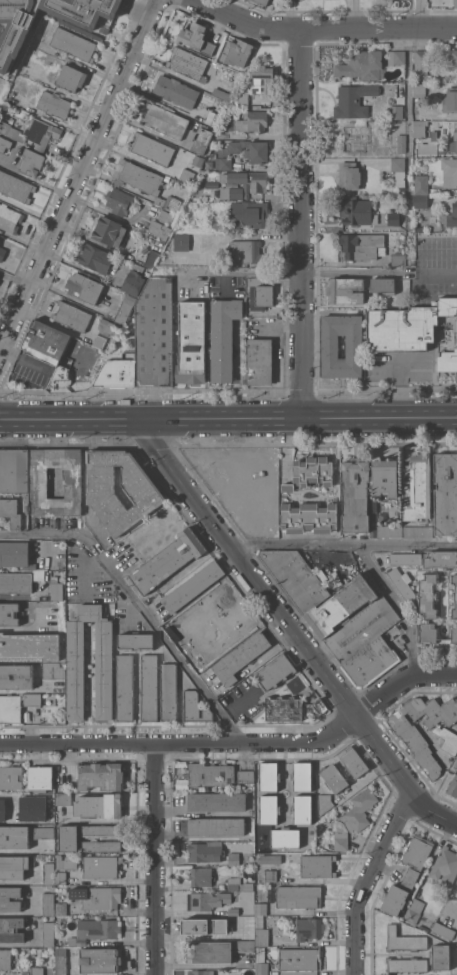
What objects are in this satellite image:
building: (260, 2)
building: (455, 4)
road: (322, 29)
building: (196, 38)
building: (74, 44)
building: (11, 45)
building: (237, 52)
building: (453, 56)
building: (396, 57)
building: (187, 63)
building: (422, 63)
building: (362, 65)
building: (71, 77)
building: (262, 78)
building: (419, 90)
building: (176, 91)
building: (247, 98)
building: (353, 100)
building: (450, 100)
building: (54, 104)
building: (396, 112)
building: (213, 118)
building: (165, 121)
building: (252, 121)
building: (194, 126)
road: (147, 128)
building: (419, 128)
building: (11, 131)
building: (41, 132)
building: (355, 135)
building: (455, 135)
building: (202, 141)
building: (401, 143)
building: (4, 144)
building: (152, 148)
building: (251, 150)
building: (198, 160)
building: (32, 163)
building: (223, 163)
road: (81, 169)
building: (399, 171)
building: (449, 171)
building: (349, 175)
building: (187, 176)
road: (34, 178)
building: (247, 179)
building: (143, 183)
building: (422, 184)
building: (16, 187)
building: (231, 192)
building: (119, 201)
building: (421, 201)
road: (99, 208)
building: (358, 211)
building: (251, 214)
building: (169, 217)
building: (10, 218)
building: (393, 218)
building: (449, 218)
road: (304, 225)
building: (214, 226)
building: (159, 229)
building: (110, 231)
building: (181, 241)
building: (362, 246)
building: (246, 251)
building: (2, 253)
building: (97, 258)
building: (151, 259)
building: (398, 259)
road: (409, 265)
building: (137, 267)
road: (441, 272)
road: (13, 276)
building: (133, 282)
building: (383, 285)
building: (84, 287)
building: (345, 290)
building: (259, 294)
building: (125, 309)
building: (72, 315)
building: (407, 325)
building: (108, 327)
building: (154, 334)
building: (223, 337)
building: (99, 340)
building: (46, 342)
building: (192, 342)
building: (127, 345)
building: (330, 346)
building: (447, 360)
building: (260, 361)
building: (117, 373)
building: (61, 377)
road: (397, 390)
road: (228, 421)
building: (14, 471)
building: (311, 472)
building: (384, 477)
building: (39, 482)
building: (419, 487)
building: (446, 494)
building: (355, 495)
building: (147, 496)
building: (10, 512)
building: (393, 512)
building: (309, 517)
building: (389, 530)
building: (418, 531)
road: (43, 535)
road: (344, 541)
building: (15, 554)
building: (405, 558)
building: (440, 559)
building: (168, 560)
building: (296, 577)
road: (384, 580)
building: (16, 583)
building: (402, 583)
building: (192, 586)
building: (57, 591)
building: (454, 594)
building: (428, 595)
building: (342, 606)
building: (9, 614)
road: (295, 627)
building: (362, 629)
building: (434, 634)
road: (163, 638)
building: (136, 642)
building: (30, 646)
road: (413, 651)
building: (240, 657)
building: (370, 662)
building: (76, 670)
building: (275, 671)
building: (53, 672)
building: (16, 676)
building: (125, 687)
building: (149, 688)
building: (169, 692)
building: (32, 699)
building: (194, 708)
building: (10, 709)
building: (293, 709)
building: (447, 739)
building: (415, 741)
road: (239, 742)
building: (66, 769)
building: (358, 769)
building: (209, 774)
building: (101, 776)
building: (246, 776)
building: (269, 776)
building: (302, 776)
building: (11, 777)
building: (40, 778)
building: (453, 786)
building: (63, 799)
building: (217, 802)
building: (324, 803)
building: (99, 806)
building: (5, 808)
building: (39, 808)
building: (269, 809)
building: (302, 809)
road: (171, 810)
building: (360, 810)
building: (216, 826)
building: (101, 831)
building: (43, 832)
building: (14, 837)
building: (285, 837)
building: (69, 838)
building: (340, 840)
building: (101, 846)
building: (205, 851)
building: (417, 851)
road: (155, 858)
building: (233, 859)
building: (269, 859)
building: (67, 862)
building: (15, 866)
building: (317, 866)
building: (445, 866)
building: (101, 867)
building: (49, 873)
building: (267, 875)
building: (201, 876)
building: (61, 877)
building: (410, 878)
road: (28, 881)
road: (366, 882)
building: (238, 884)
building: (456, 894)
building: (299, 896)
building: (97, 897)
building: (11, 899)
building: (394, 899)
building: (202, 901)
building: (242, 903)
building: (48, 904)
building: (61, 908)
building: (260, 908)
building: (414, 911)
road: (29, 913)
building: (243, 917)
building: (200, 926)
building: (309, 928)
building: (11, 930)
building: (96, 930)
building: (444, 931)
building: (261, 932)
building: (233, 933)
building: (48, 934)
building: (404, 940)
building: (244, 945)
building: (210, 952)
building: (440, 957)
building: (300, 958)
building: (5, 959)
building: (101, 960)
building: (61, 961)
building: (261, 962)
building: (407, 964)
building: (36, 971)
building: (197, 972)

